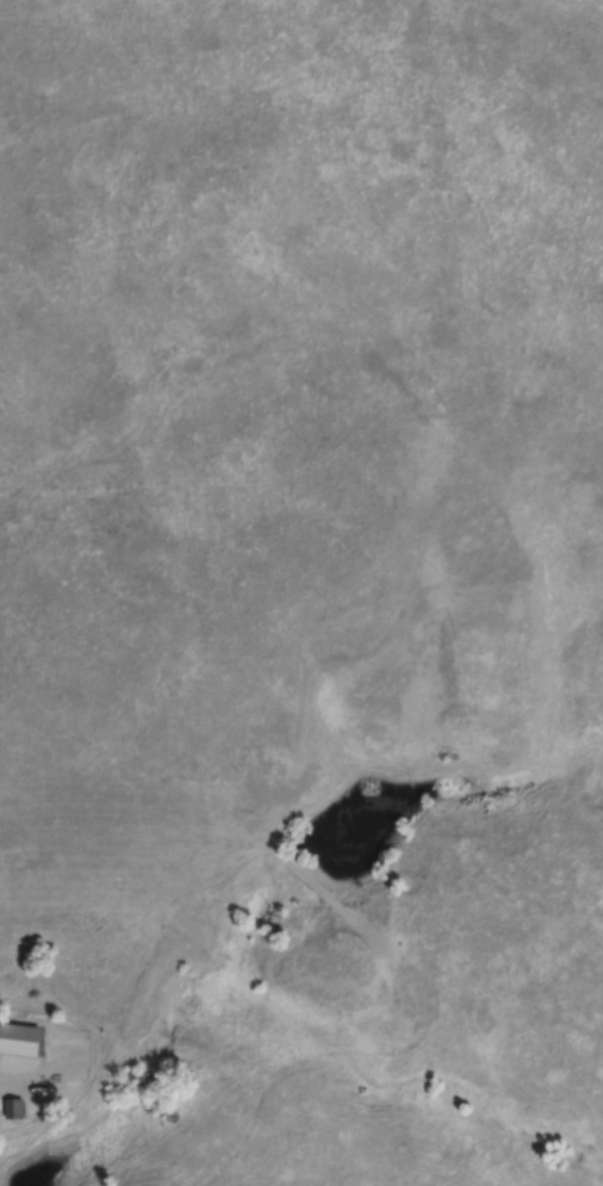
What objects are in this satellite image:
building: (11, 1110)

